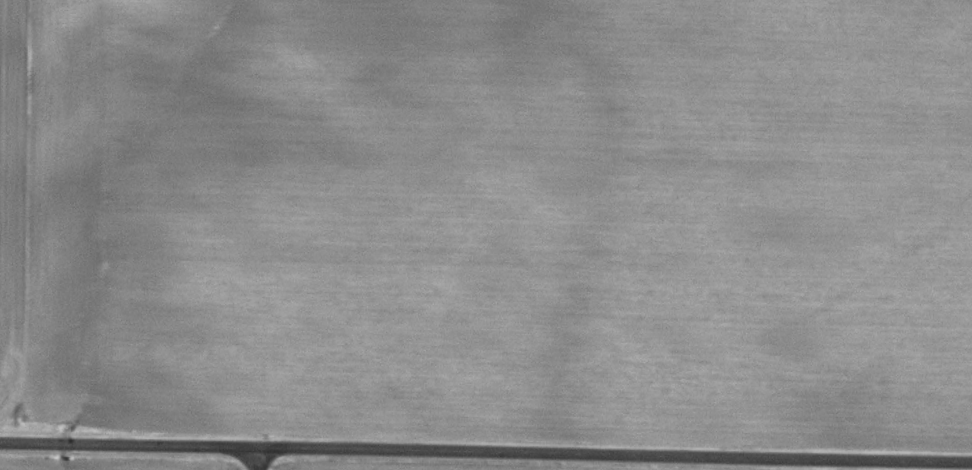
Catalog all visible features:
crop: (490, 216)
road: (486, 455)
road: (259, 460)

